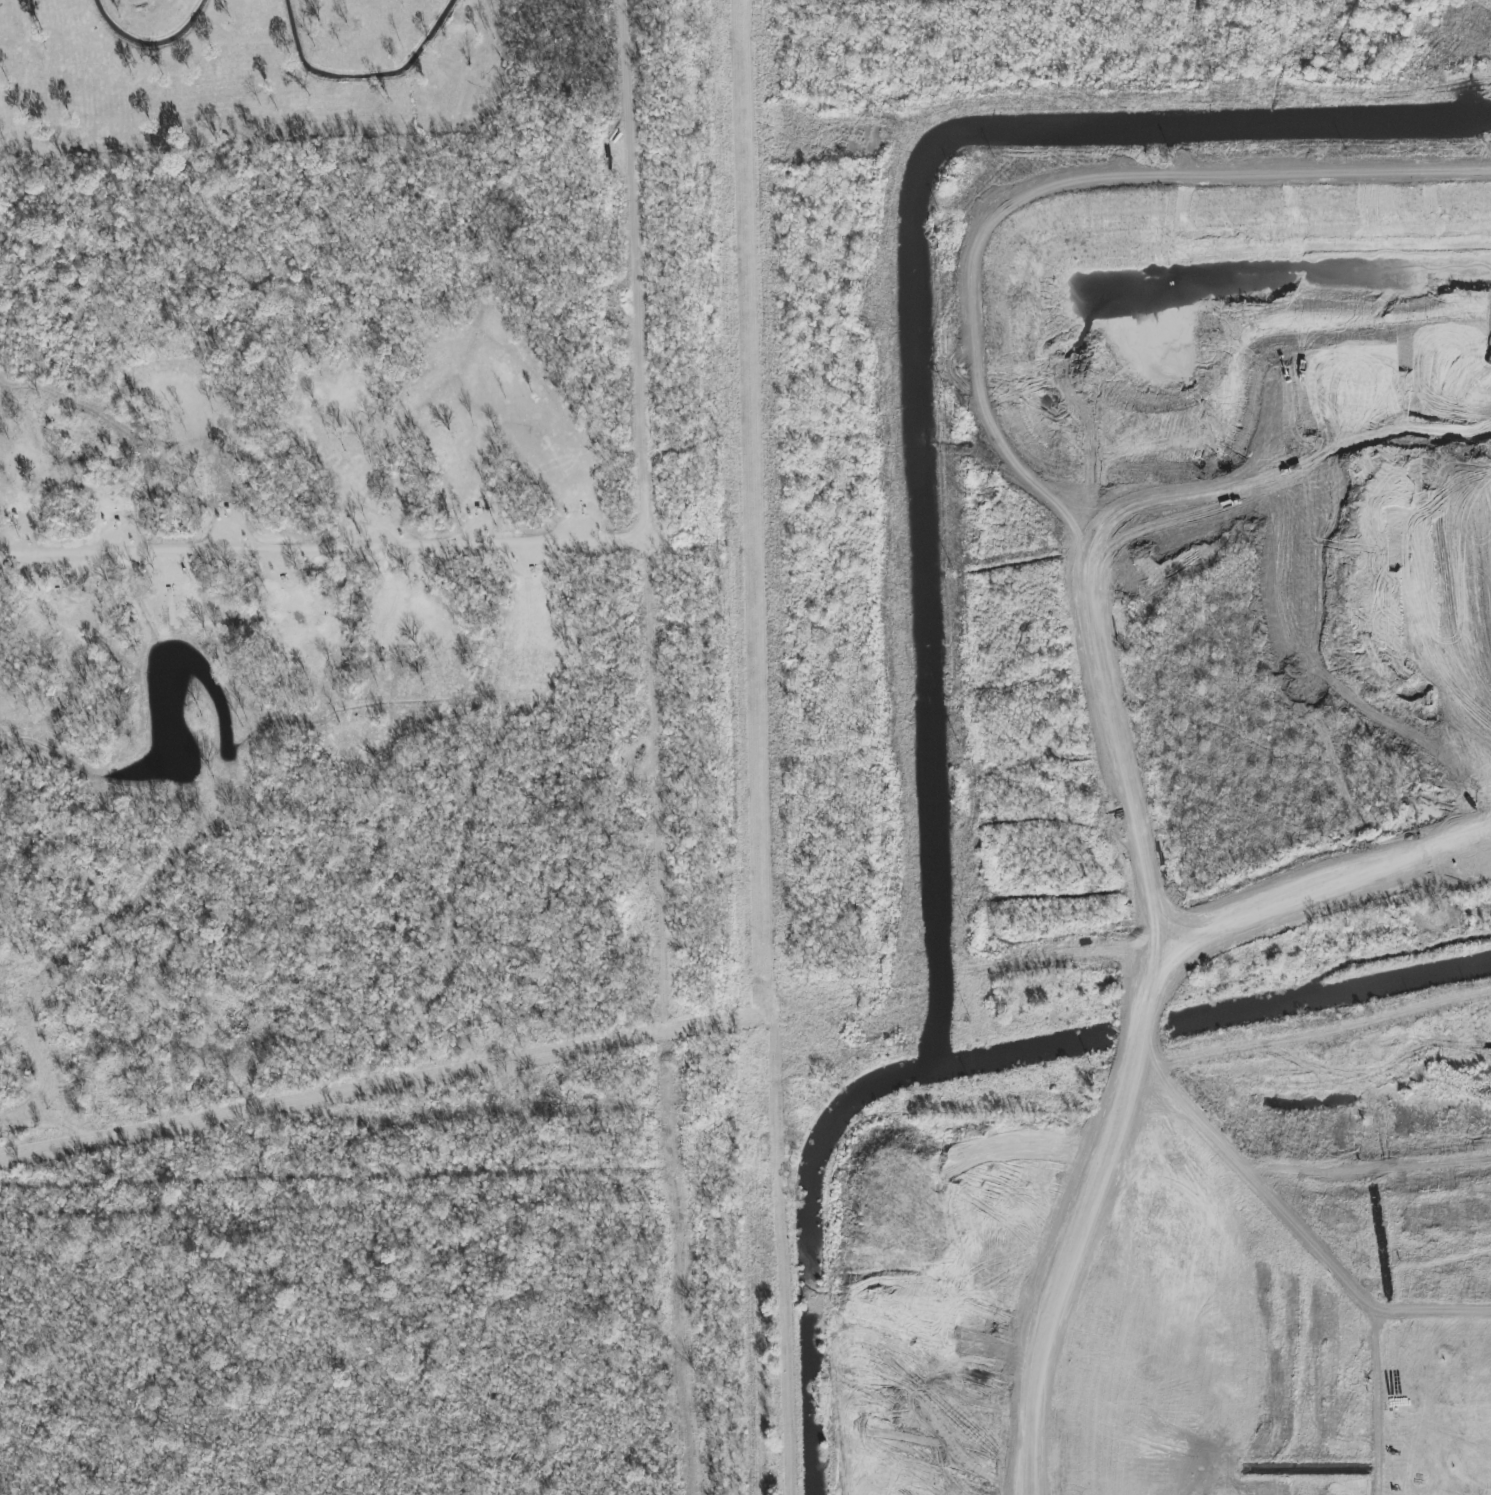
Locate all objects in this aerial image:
road: (629, 270)
road: (319, 553)
landfill: (1184, 1266)

